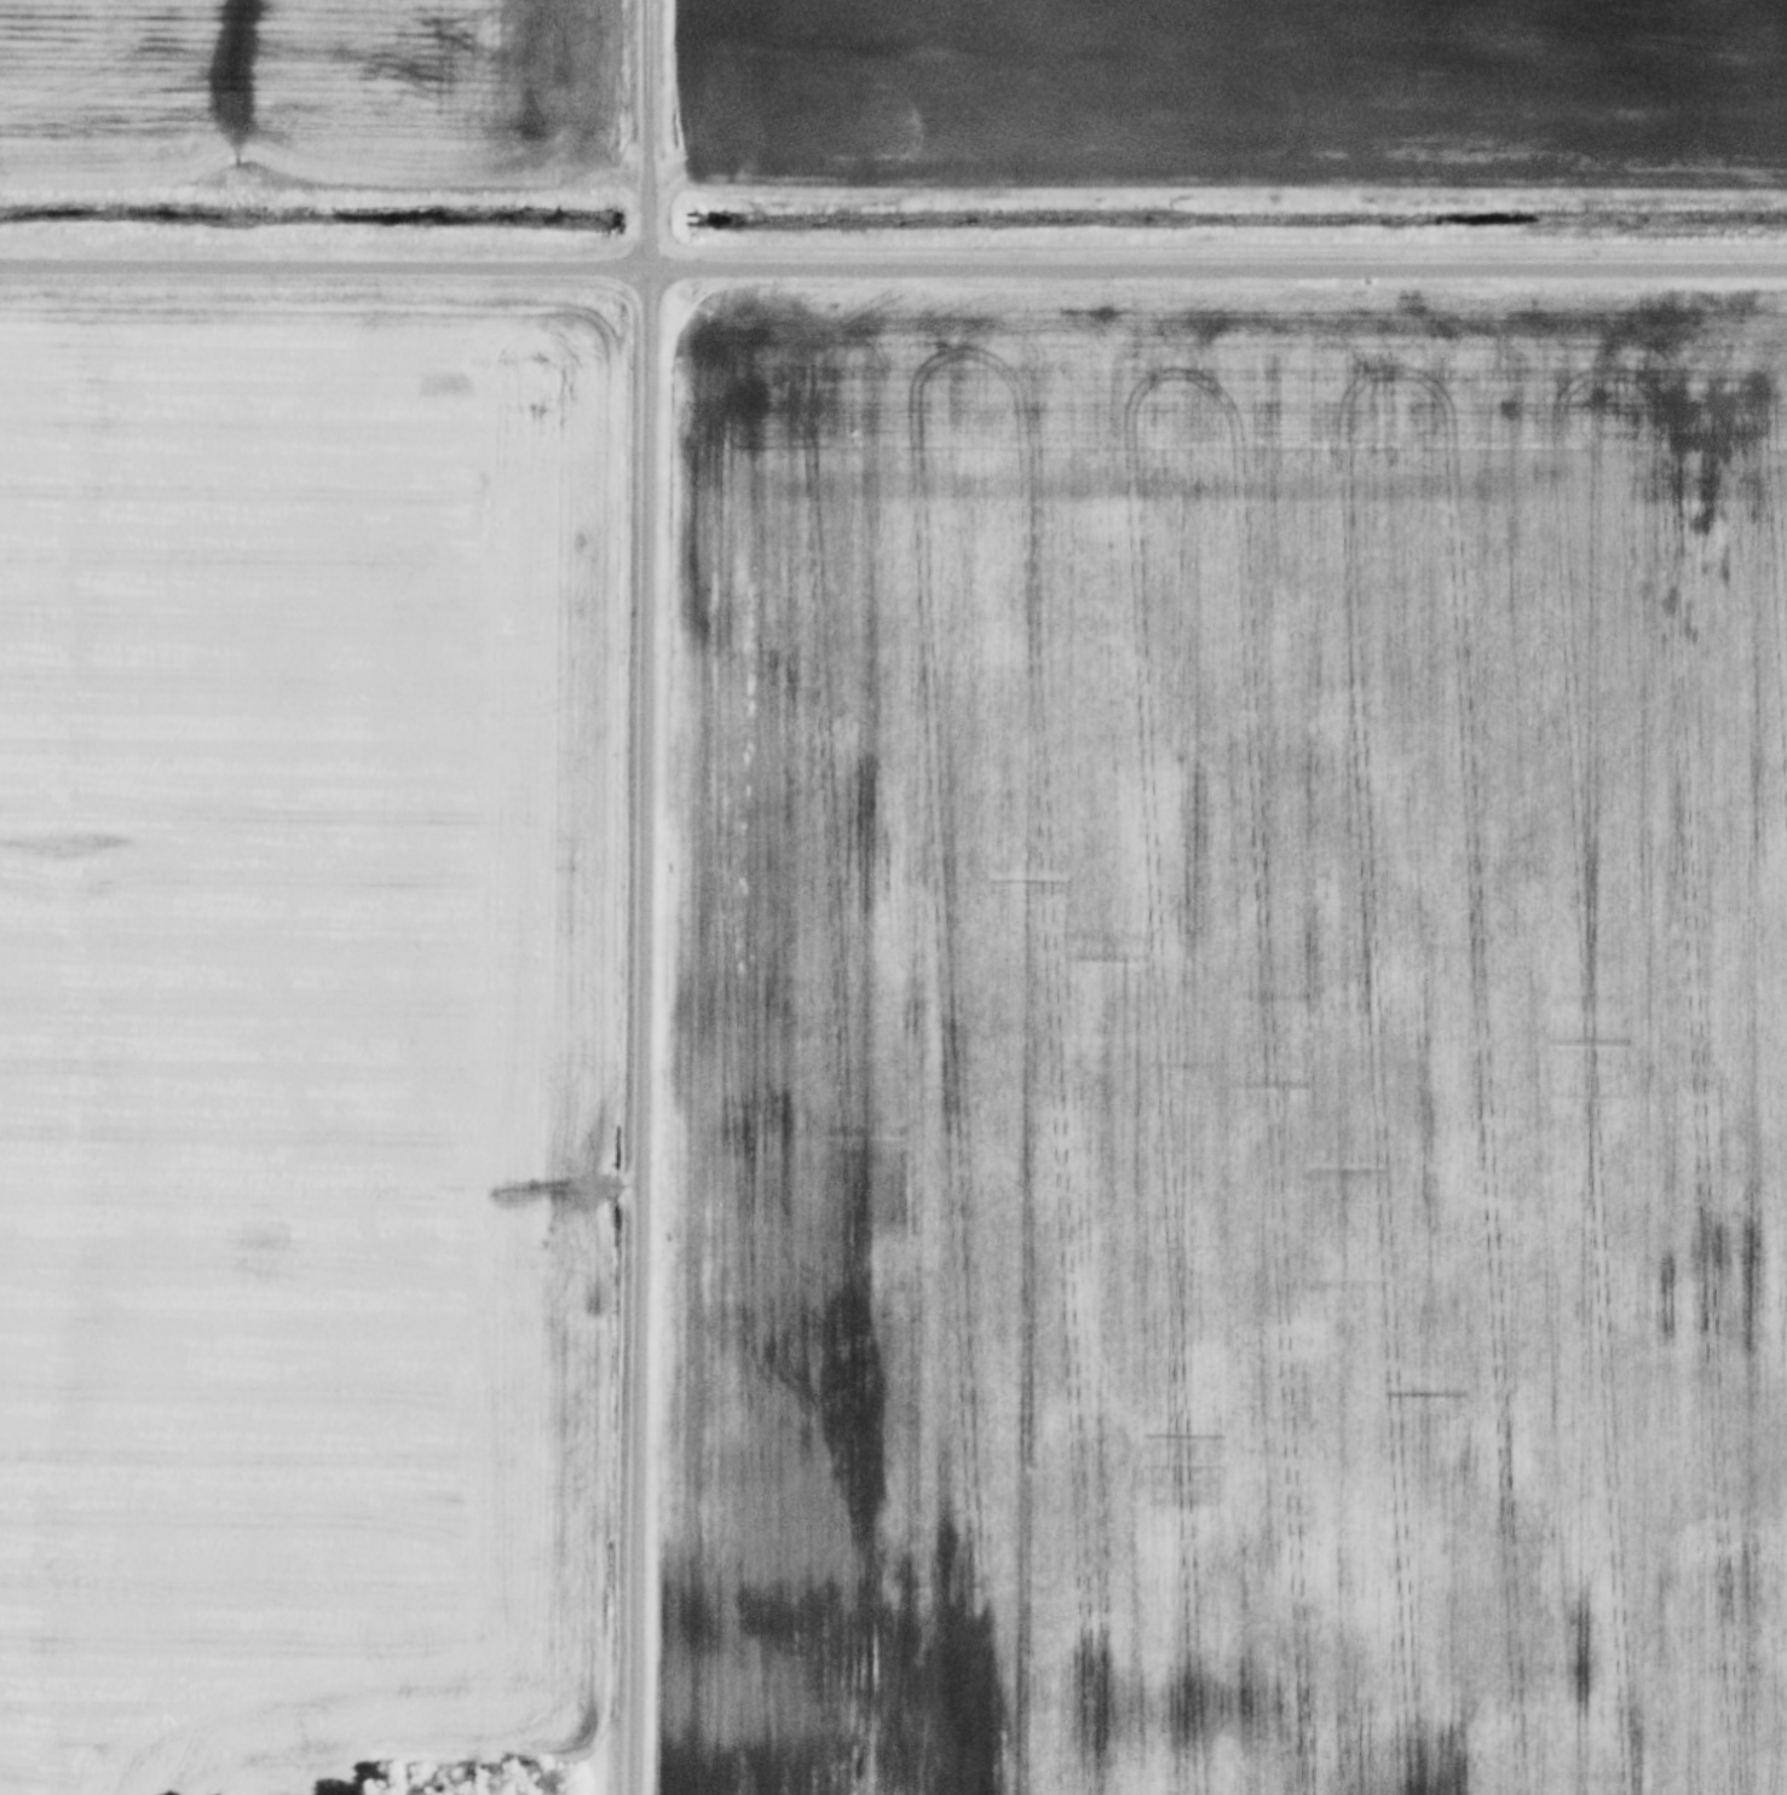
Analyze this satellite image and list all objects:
road: (650, 134)
road: (893, 271)
road: (646, 1033)

